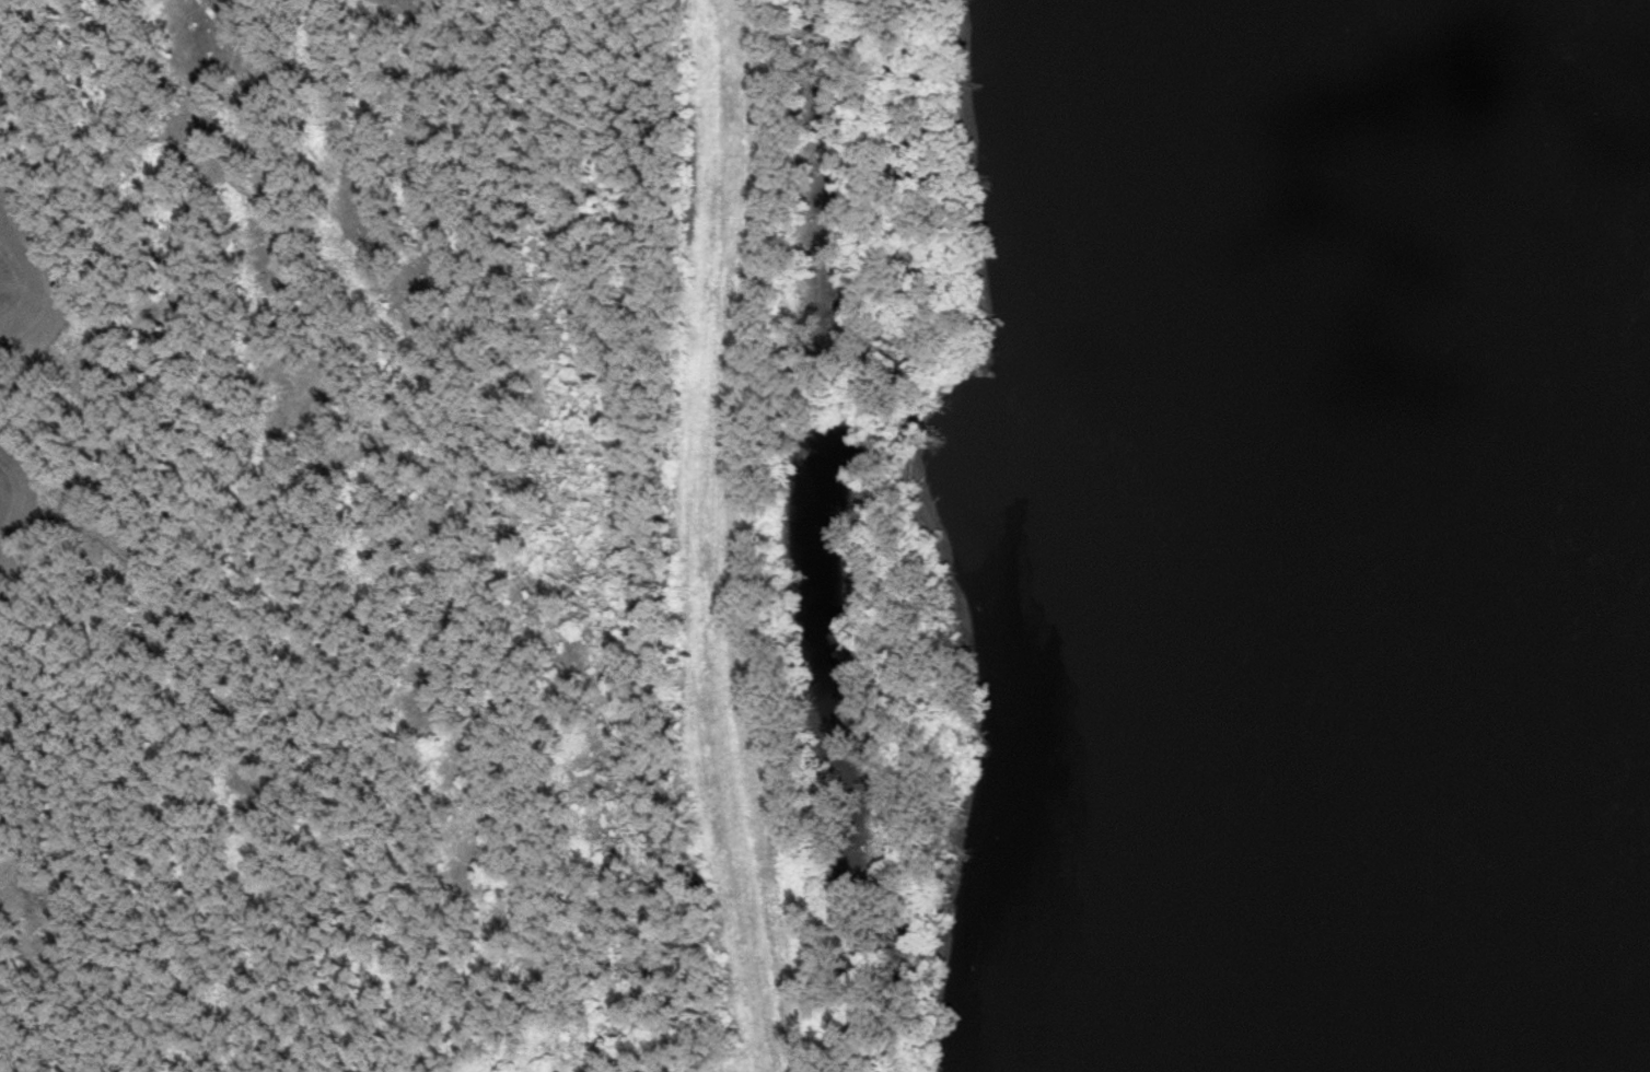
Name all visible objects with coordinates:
river: (1527, 534)

